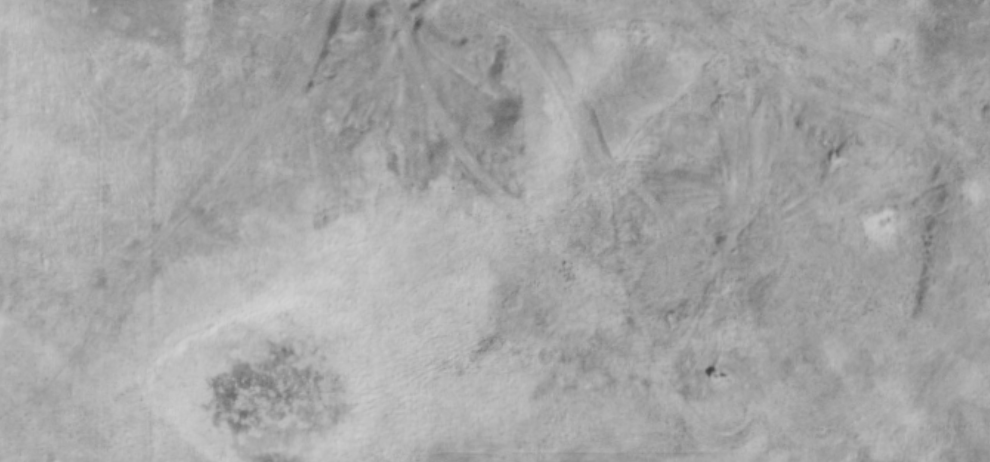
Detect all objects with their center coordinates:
road: (554, 58)

